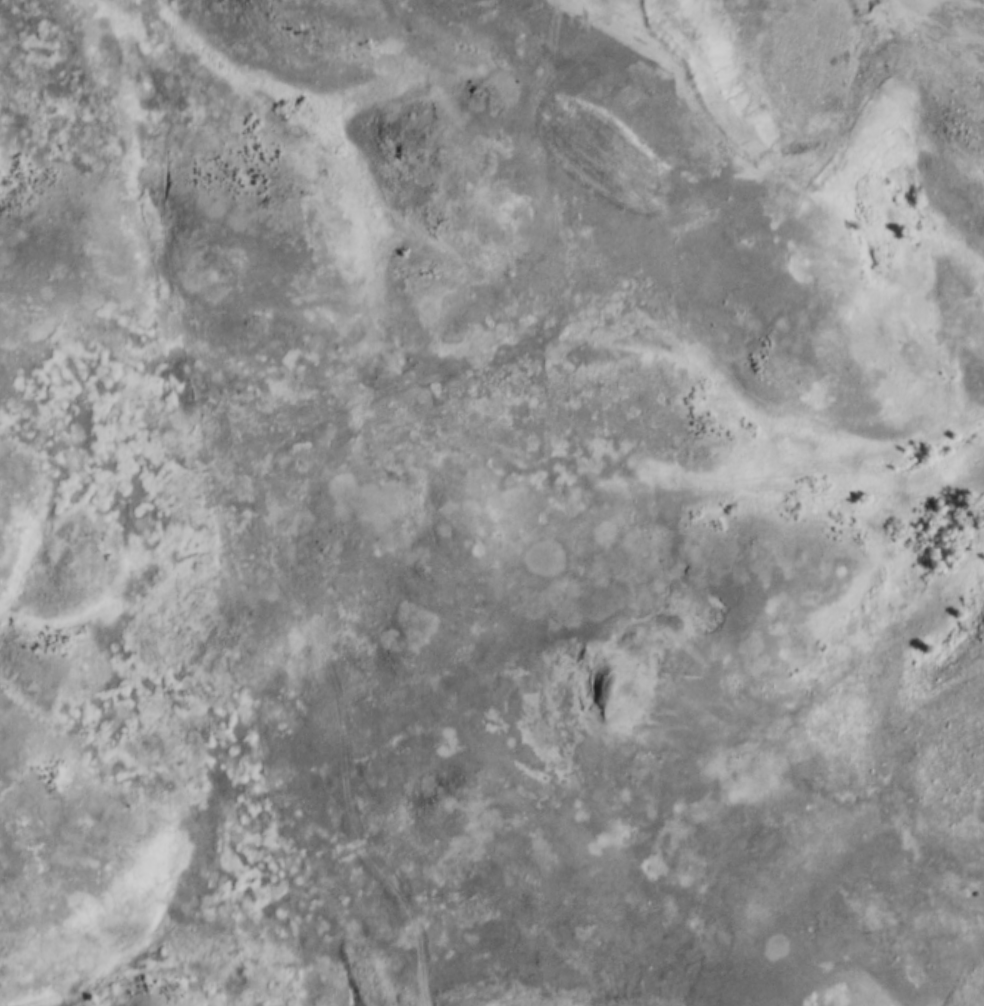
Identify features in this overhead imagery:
road: (916, 841)

